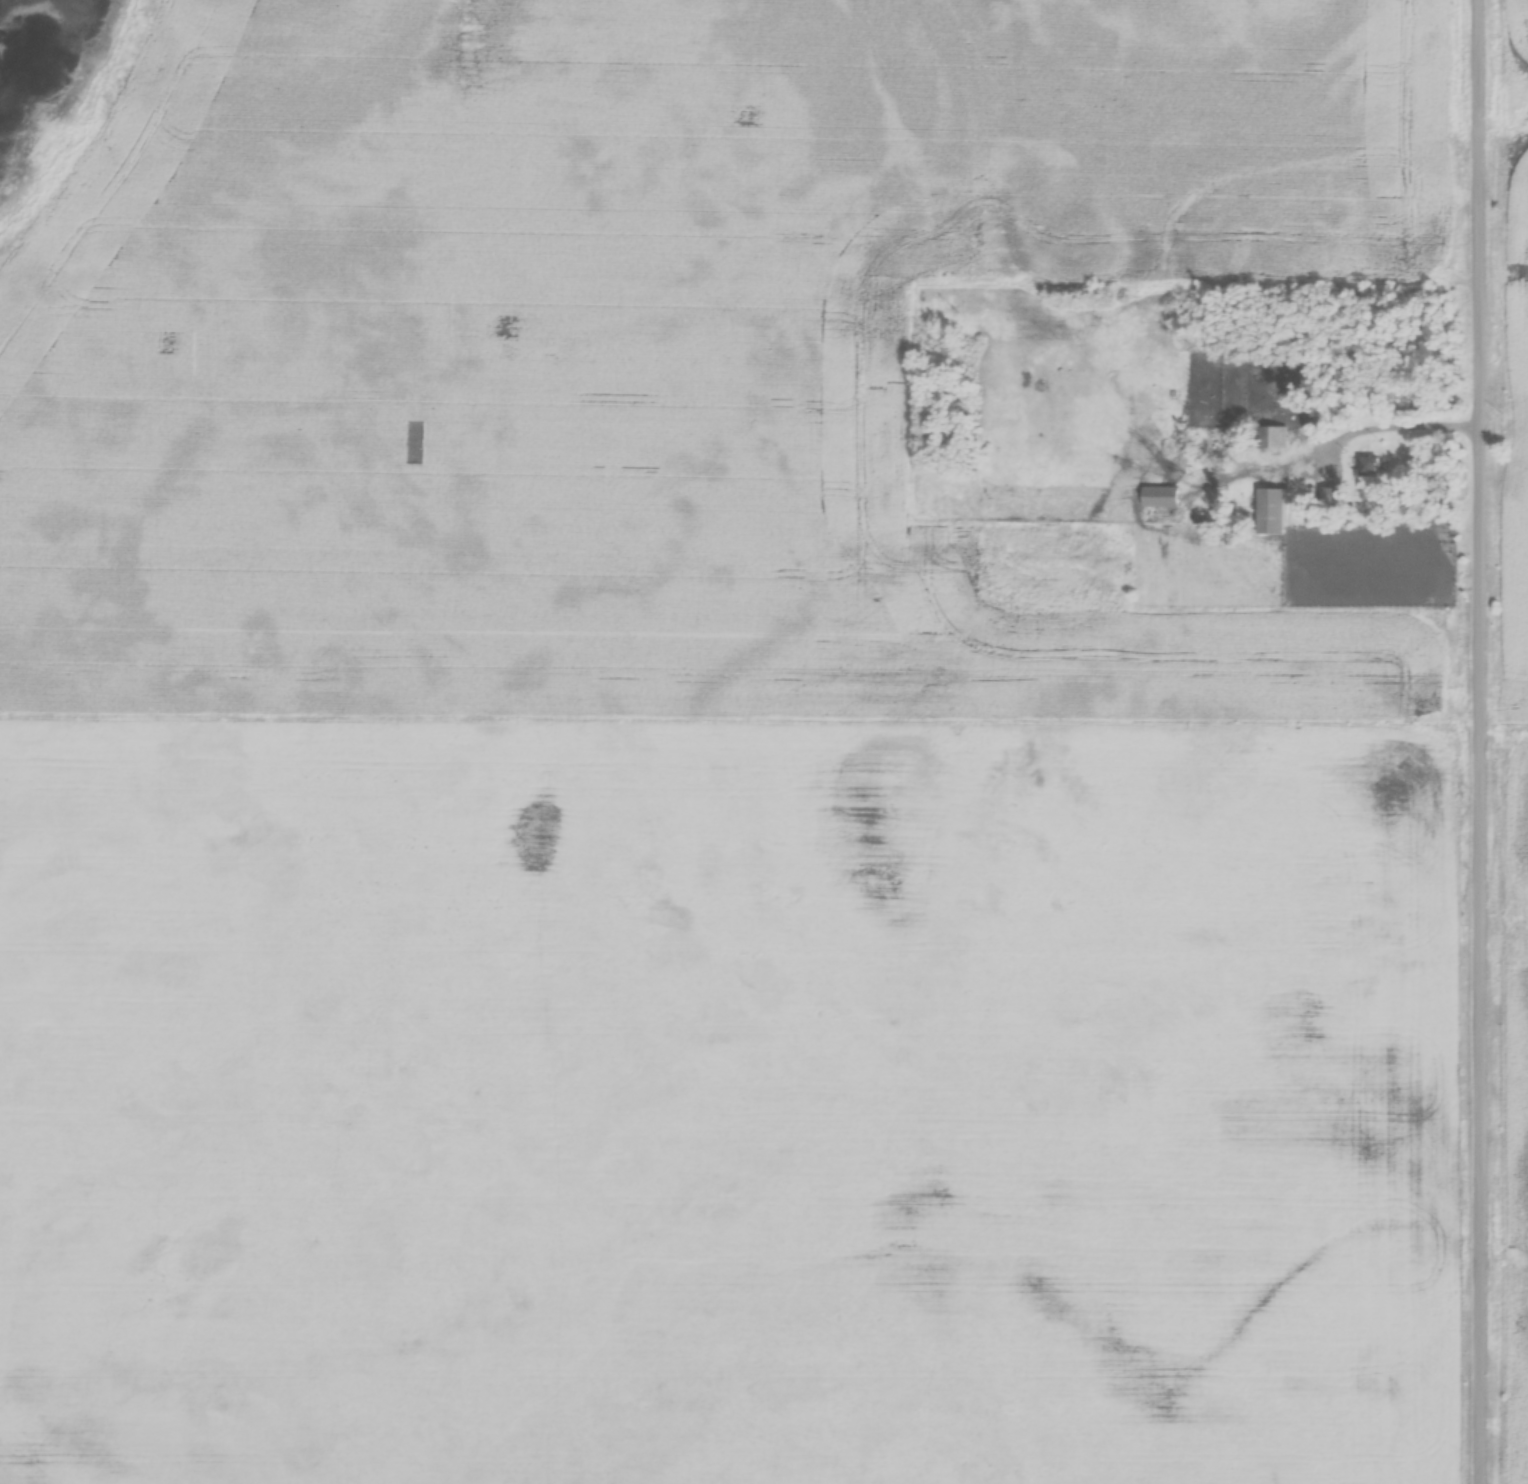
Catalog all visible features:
building: (1273, 436)
building: (1371, 494)
building: (1162, 496)
building: (1272, 511)
road: (1480, 741)

